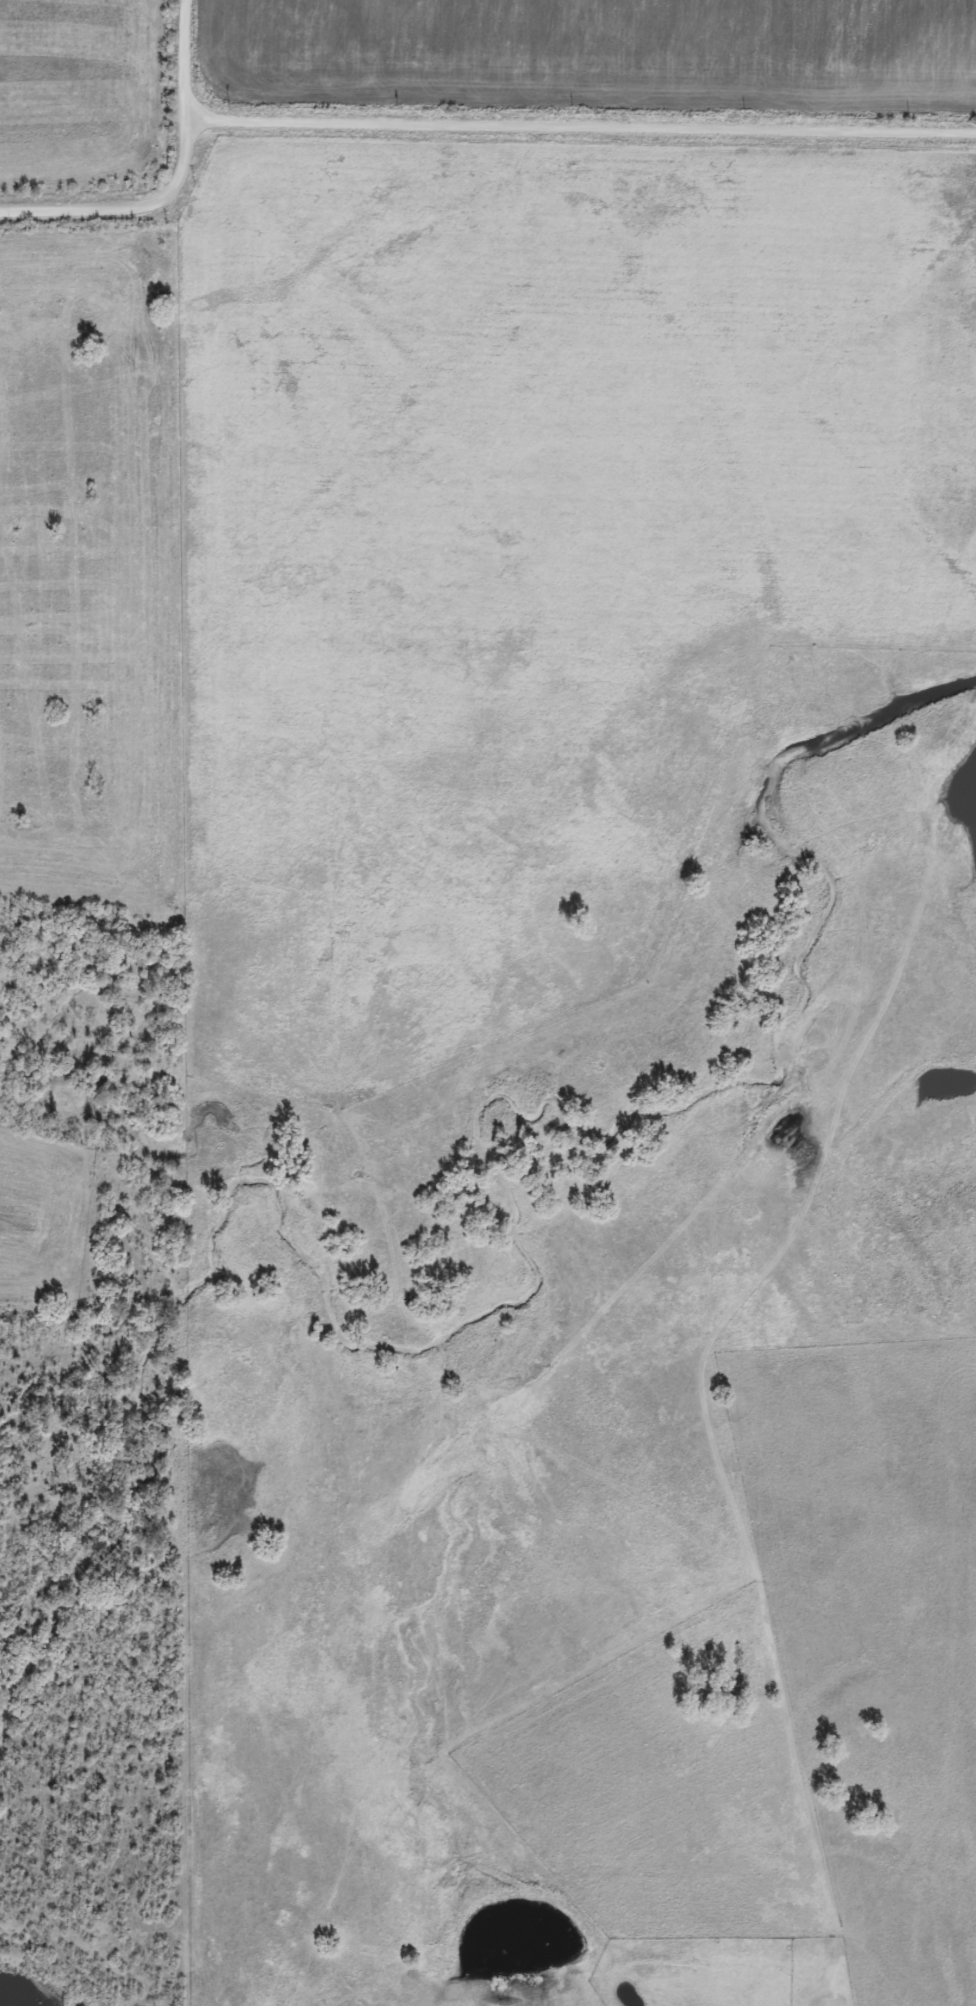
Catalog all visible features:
road: (582, 156)
road: (179, 188)

